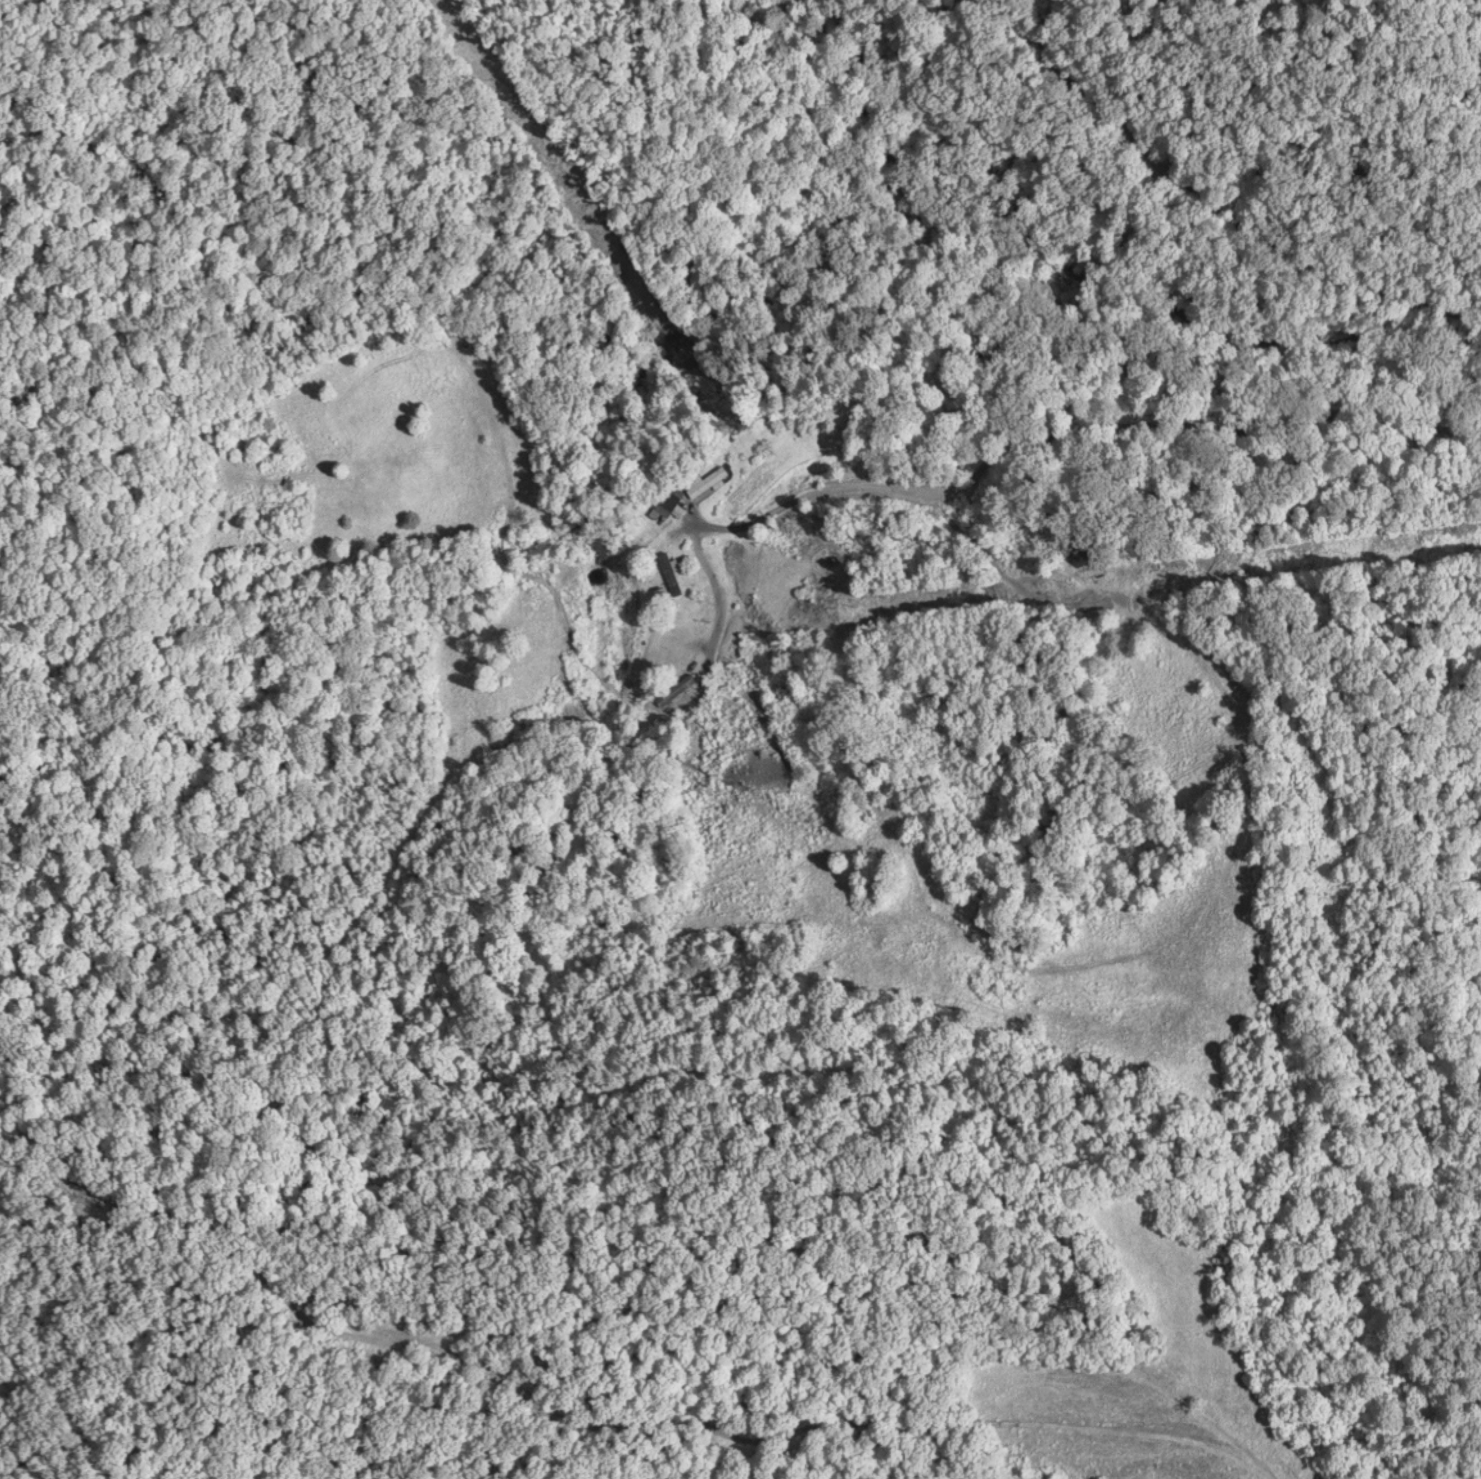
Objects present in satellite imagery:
road: (1253, 159)
road: (1073, 448)
building: (708, 483)
building: (666, 504)
building: (1079, 561)
building: (669, 573)
building: (675, 689)

